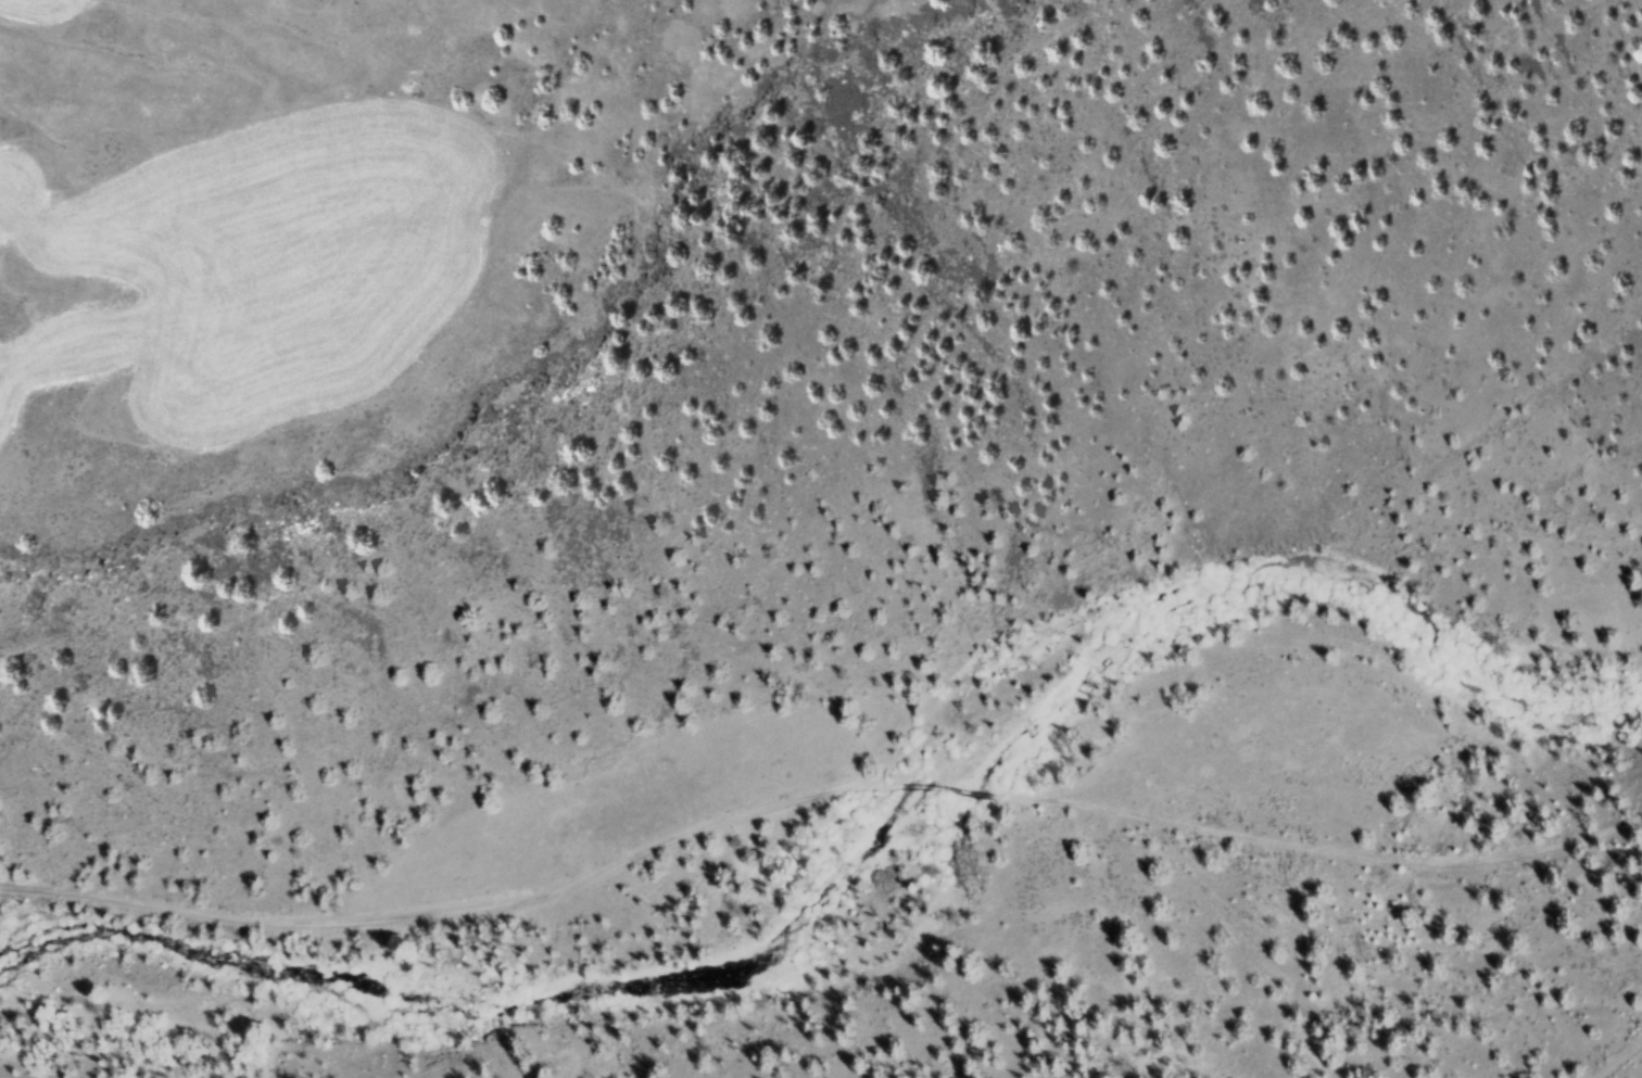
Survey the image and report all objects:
road: (1620, 1058)

